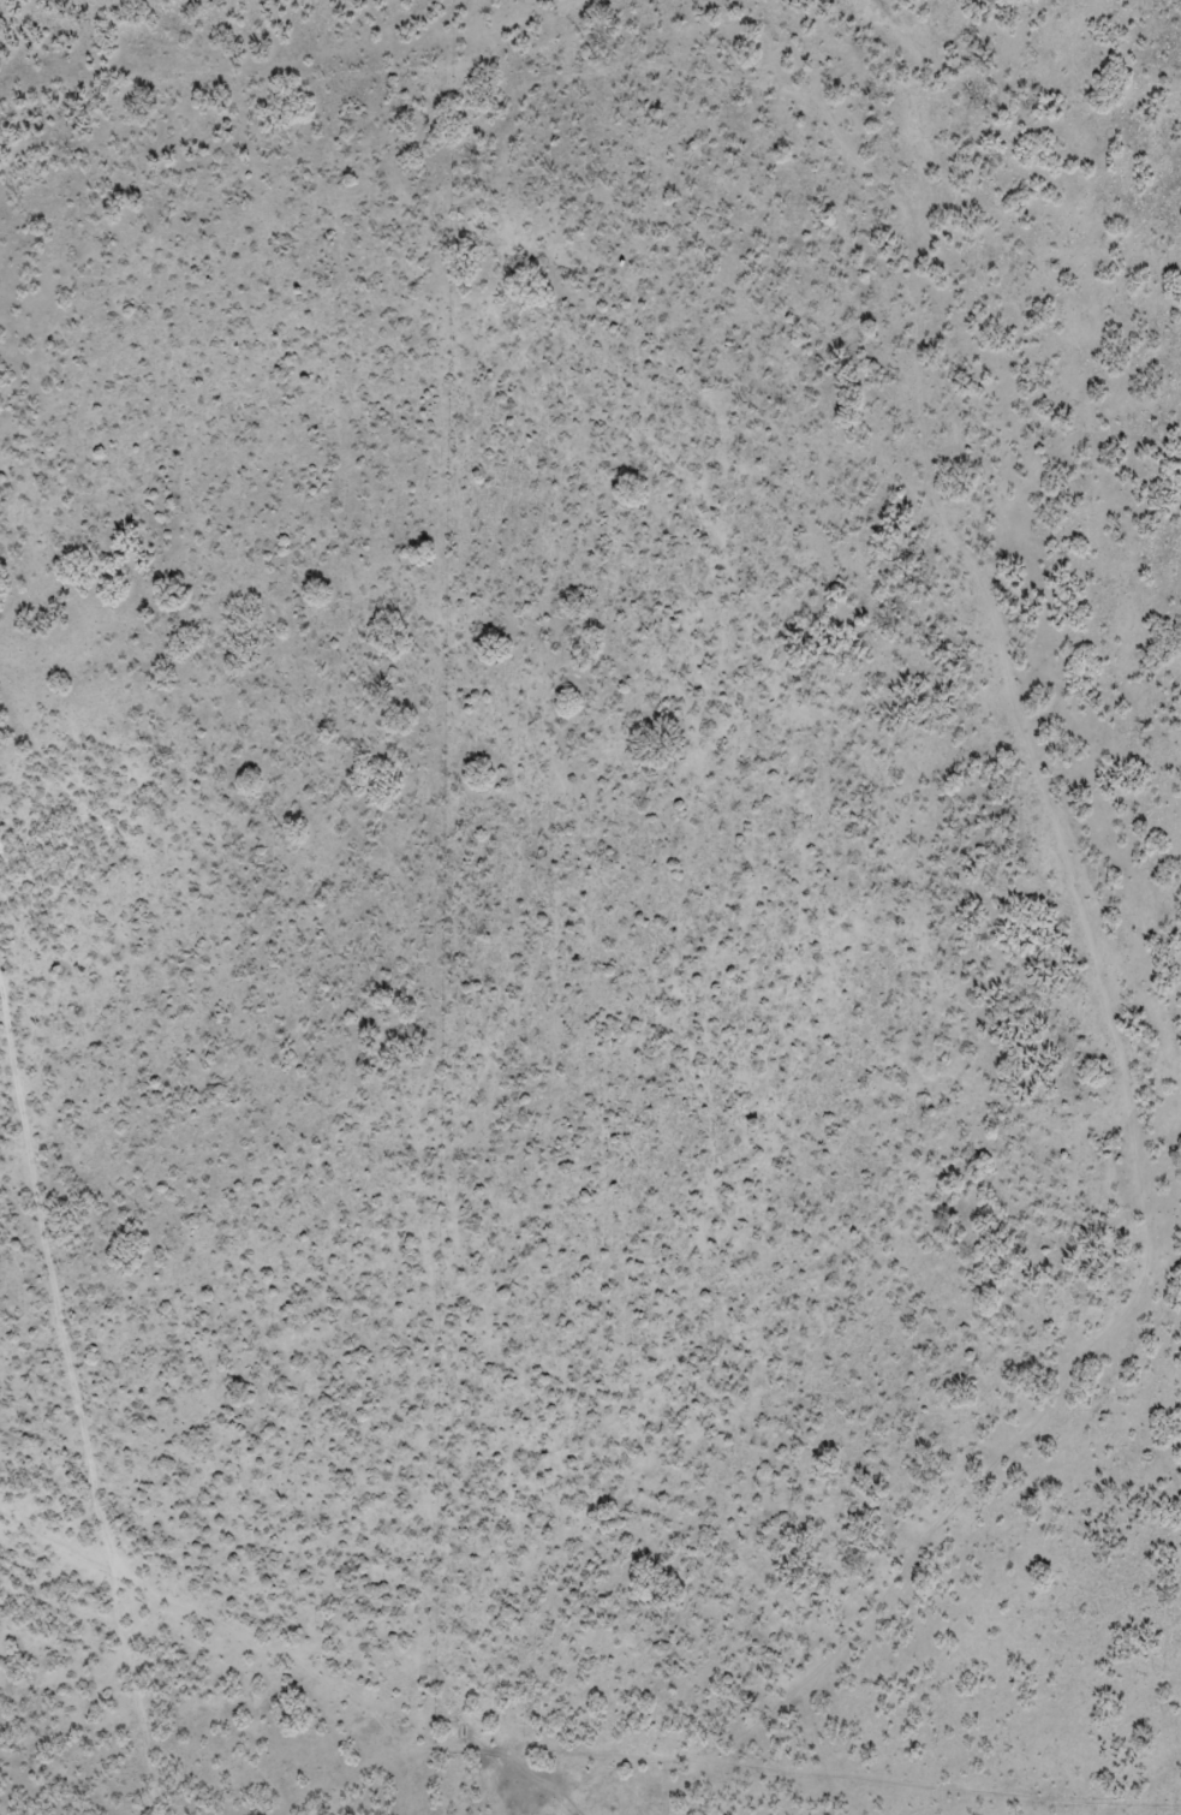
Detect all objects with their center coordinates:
road: (107, 1329)

